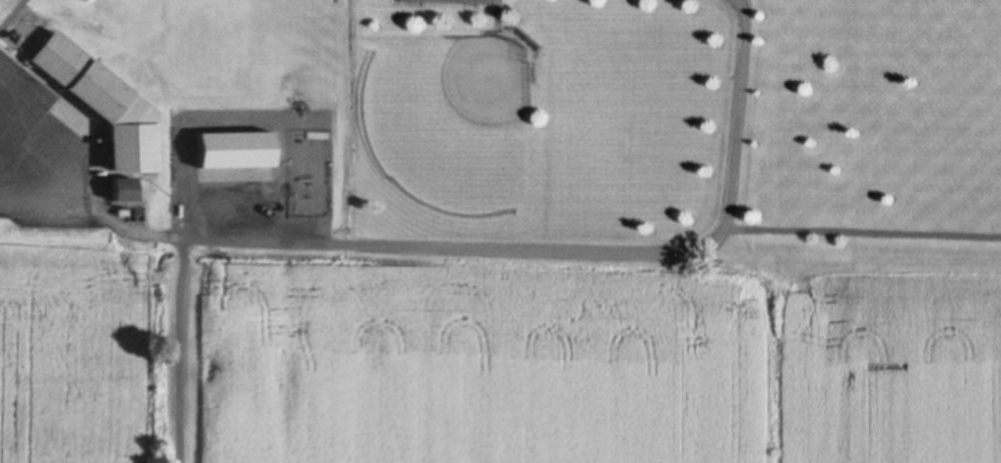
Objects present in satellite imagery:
road: (12, 14)
road: (494, 16)
park: (219, 44)
building: (104, 103)
park: (448, 117)
park: (676, 132)
building: (237, 148)
park: (157, 156)
building: (123, 189)
building: (122, 211)
road: (860, 230)
road: (473, 245)
crop: (484, 360)

